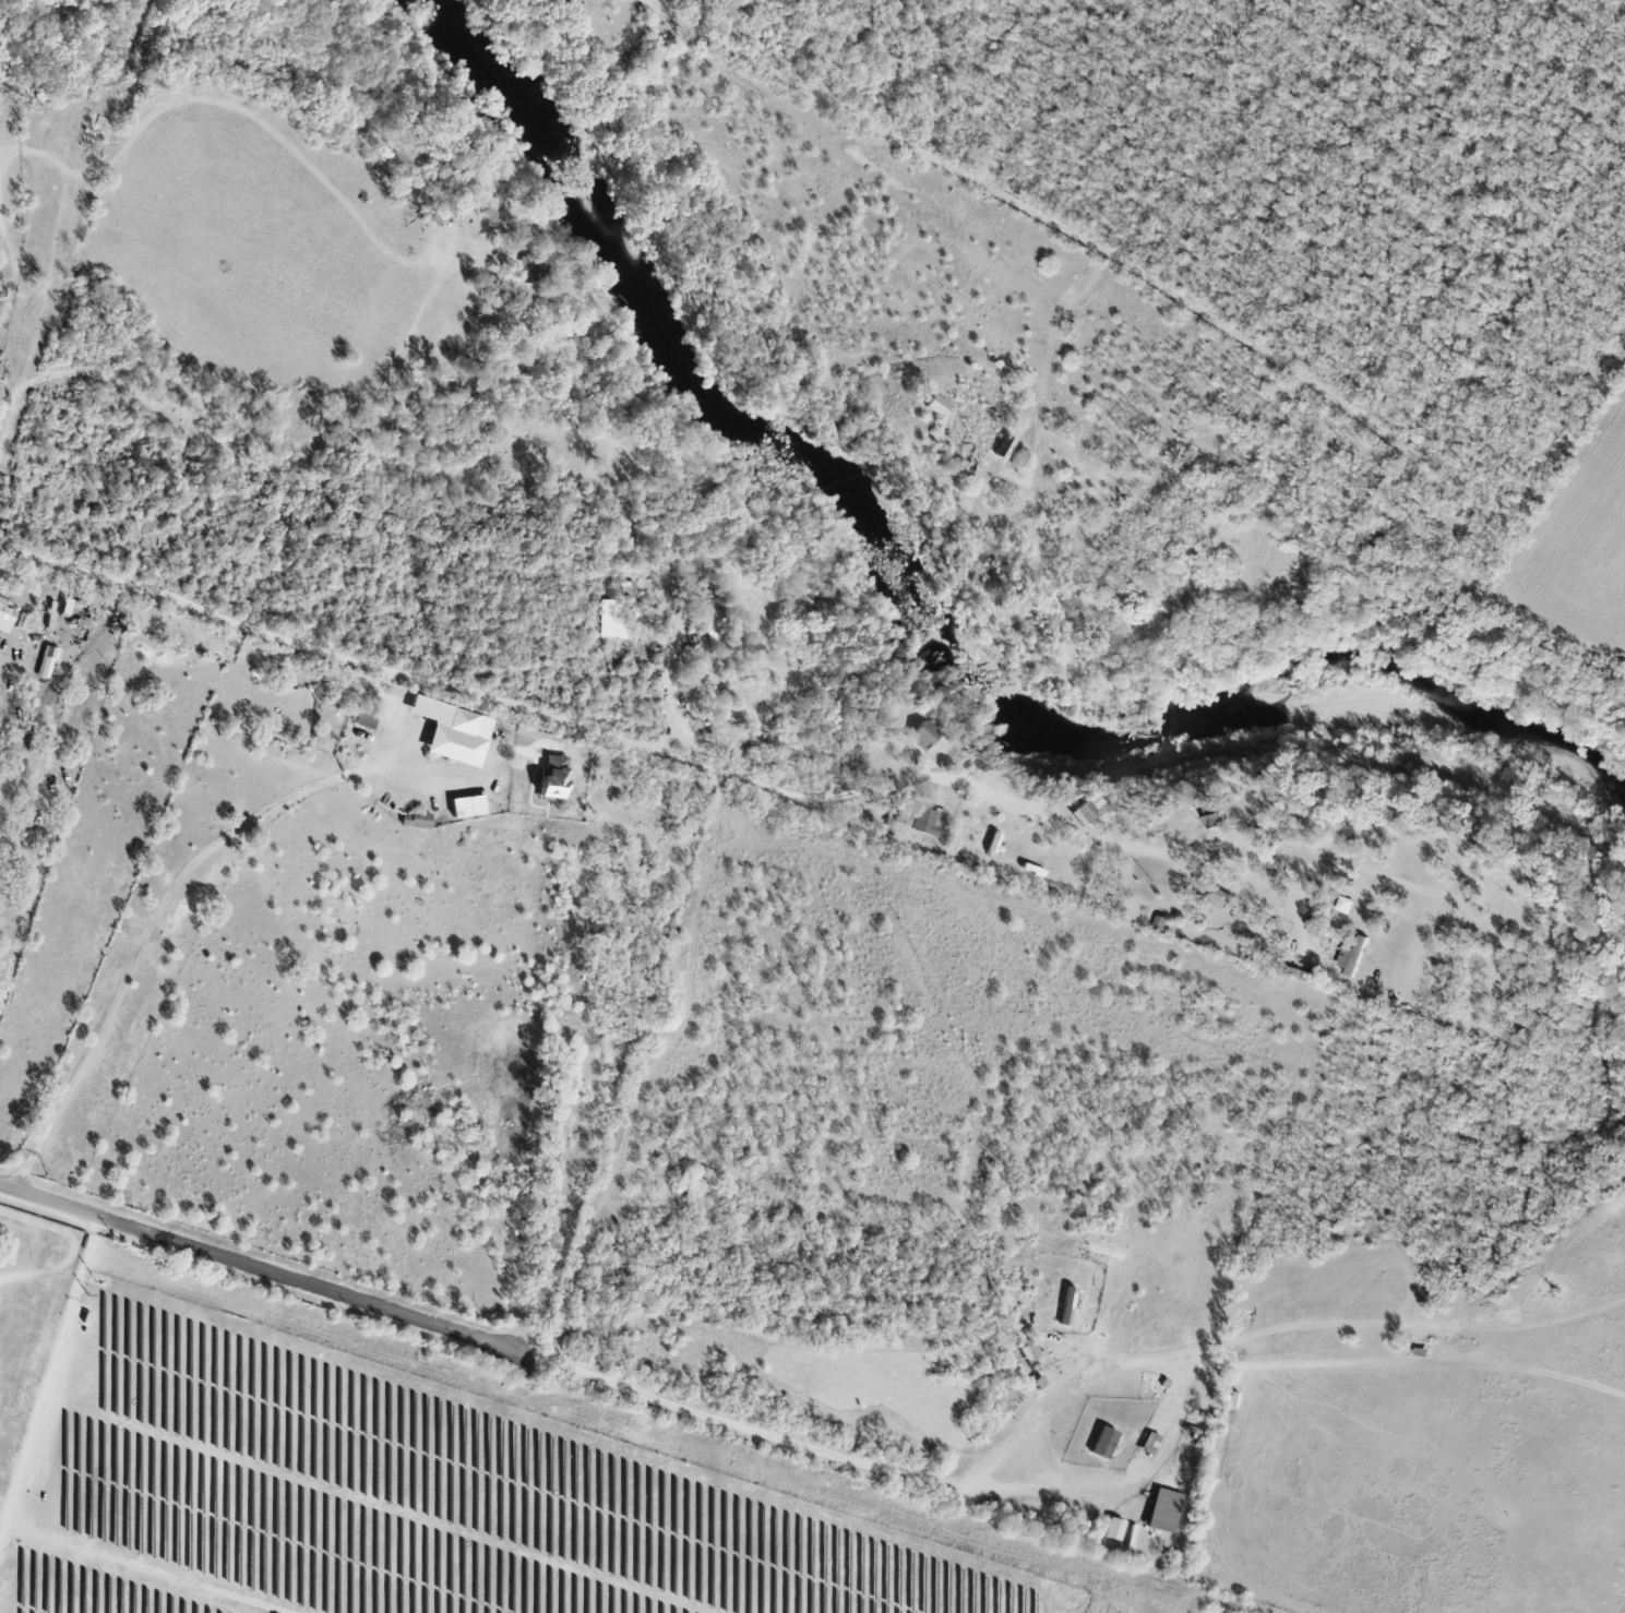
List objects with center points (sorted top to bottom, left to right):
road: (733, 5)
building: (528, 267)
road: (993, 396)
building: (937, 405)
road: (1383, 411)
road: (1077, 420)
road: (218, 445)
building: (1006, 447)
building: (628, 588)
river: (919, 613)
building: (5, 617)
building: (716, 619)
building: (610, 624)
building: (47, 661)
road: (10, 662)
building: (426, 707)
building: (923, 736)
building: (457, 739)
road: (647, 749)
building: (553, 777)
building: (468, 806)
building: (1215, 816)
building: (928, 822)
building: (1343, 905)
road: (140, 946)
building: (1352, 956)
road: (76, 1245)
road: (250, 1267)
wastewater plant: (24, 1303)
building: (1027, 1350)
building: (1103, 1443)
road: (982, 1492)
solar farm: (403, 1493)
building: (1164, 1510)

